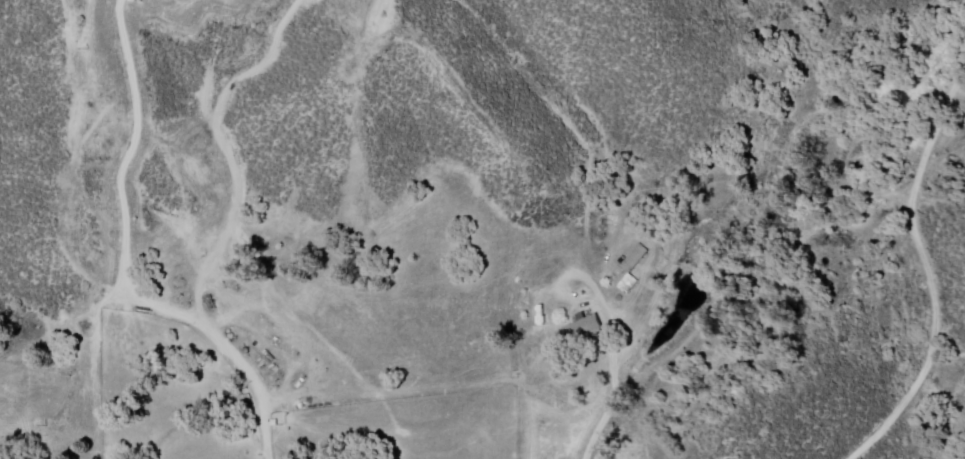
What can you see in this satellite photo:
road: (126, 259)
building: (630, 270)
road: (929, 271)
building: (583, 329)
road: (614, 399)

